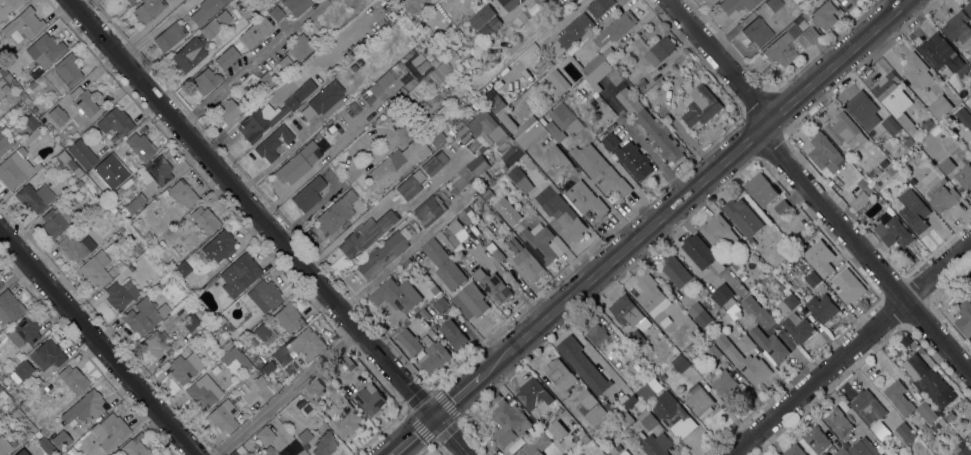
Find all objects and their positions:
building: (130, 1)
building: (788, 1)
building: (709, 2)
building: (849, 3)
road: (79, 4)
building: (510, 4)
building: (735, 5)
building: (773, 5)
road: (87, 6)
building: (295, 6)
building: (535, 6)
building: (599, 6)
building: (968, 6)
building: (8, 7)
building: (148, 10)
building: (205, 10)
road: (895, 12)
building: (276, 14)
building: (824, 15)
building: (481, 16)
building: (224, 18)
building: (23, 25)
building: (958, 27)
building: (211, 28)
road: (554, 28)
building: (616, 28)
road: (153, 29)
building: (255, 32)
building: (757, 32)
building: (457, 33)
building: (571, 33)
building: (811, 33)
building: (169, 36)
building: (423, 44)
building: (784, 44)
building: (299, 47)
building: (44, 50)
building: (414, 50)
building: (659, 50)
building: (465, 51)
building: (607, 51)
building: (940, 52)
building: (433, 53)
building: (188, 55)
building: (227, 57)
building: (416, 60)
road: (721, 60)
building: (2, 62)
building: (422, 62)
building: (584, 63)
road: (250, 64)
building: (285, 64)
building: (917, 70)
building: (441, 71)
building: (3, 72)
building: (63, 74)
building: (206, 80)
building: (266, 80)
building: (383, 81)
building: (556, 82)
building: (642, 82)
building: (660, 82)
building: (317, 85)
building: (962, 91)
building: (623, 92)
building: (891, 92)
building: (8, 94)
building: (25, 97)
building: (323, 99)
building: (83, 101)
building: (495, 103)
building: (701, 105)
building: (940, 106)
building: (863, 109)
building: (961, 109)
building: (227, 111)
building: (57, 115)
building: (266, 117)
building: (565, 118)
building: (967, 119)
building: (456, 120)
building: (115, 121)
building: (507, 121)
building: (30, 122)
building: (906, 122)
building: (926, 124)
building: (890, 125)
building: (845, 130)
building: (936, 130)
building: (554, 131)
building: (501, 135)
building: (30, 136)
building: (660, 136)
building: (435, 137)
building: (5, 141)
building: (909, 141)
building: (950, 143)
building: (274, 144)
road: (294, 145)
building: (140, 146)
building: (969, 146)
building: (824, 151)
building: (82, 154)
building: (628, 155)
building: (555, 156)
building: (526, 158)
building: (118, 160)
building: (69, 163)
building: (434, 163)
building: (884, 163)
building: (297, 164)
building: (395, 164)
building: (530, 164)
building: (15, 168)
building: (599, 169)
building: (891, 170)
building: (156, 171)
building: (958, 171)
building: (475, 172)
building: (871, 175)
building: (520, 179)
building: (913, 180)
building: (861, 182)
building: (410, 185)
building: (124, 186)
building: (760, 188)
building: (868, 188)
building: (106, 191)
building: (182, 193)
building: (308, 194)
building: (487, 194)
building: (784, 194)
building: (942, 196)
building: (34, 198)
building: (585, 198)
building: (479, 200)
building: (859, 200)
building: (135, 203)
road: (674, 206)
building: (782, 207)
building: (112, 210)
building: (428, 211)
building: (561, 212)
building: (913, 212)
building: (336, 213)
building: (742, 216)
building: (464, 217)
building: (204, 220)
building: (56, 221)
road: (266, 227)
building: (453, 229)
building: (716, 229)
building: (893, 230)
building: (364, 235)
building: (148, 239)
building: (752, 241)
building: (539, 242)
building: (219, 246)
building: (75, 247)
building: (697, 250)
building: (387, 251)
building: (435, 251)
building: (494, 251)
road: (865, 253)
road: (401, 254)
building: (818, 257)
building: (529, 264)
building: (97, 269)
building: (182, 269)
building: (429, 270)
building: (739, 273)
building: (449, 274)
building: (679, 274)
building: (239, 275)
building: (770, 275)
building: (437, 279)
building: (812, 279)
building: (208, 283)
building: (1, 284)
building: (779, 284)
building: (492, 285)
building: (739, 288)
building: (850, 288)
building: (434, 290)
building: (121, 294)
building: (396, 294)
building: (723, 294)
building: (651, 295)
building: (264, 296)
building: (470, 300)
building: (787, 304)
building: (435, 307)
building: (822, 307)
building: (9, 309)
building: (756, 310)
building: (629, 312)
building: (699, 313)
building: (144, 316)
building: (964, 317)
building: (287, 318)
building: (737, 318)
building: (220, 320)
building: (410, 320)
building: (665, 321)
building: (190, 322)
building: (798, 327)
building: (695, 330)
building: (23, 332)
building: (264, 333)
building: (453, 333)
building: (597, 334)
building: (689, 335)
building: (635, 340)
road: (98, 341)
building: (409, 341)
building: (744, 341)
building: (156, 343)
building: (307, 343)
building: (770, 344)
building: (227, 345)
road: (587, 347)
road: (852, 350)
building: (230, 351)
building: (713, 353)
building: (47, 355)
building: (282, 355)
building: (435, 357)
building: (744, 361)
building: (345, 362)
building: (680, 362)
building: (582, 364)
building: (185, 367)
building: (21, 368)
building: (267, 368)
building: (706, 372)
building: (560, 374)
building: (662, 376)
building: (72, 379)
building: (259, 381)
building: (929, 381)
building: (726, 384)
building: (50, 387)
building: (315, 388)
building: (645, 391)
road: (283, 392)
building: (203, 393)
building: (2, 395)
building: (305, 395)
building: (535, 396)
building: (899, 397)
building: (370, 398)
building: (603, 400)
building: (700, 401)
building: (311, 402)
road: (450, 404)
building: (589, 406)
building: (867, 406)
building: (85, 407)
building: (557, 408)
building: (306, 409)
building: (351, 411)
building: (927, 411)
building: (564, 412)
building: (941, 412)
building: (643, 413)
building: (18, 415)
building: (673, 415)
building: (223, 416)
building: (626, 418)
building: (538, 419)
building: (838, 421)
building: (509, 422)
building: (924, 426)
building: (30, 428)
building: (537, 429)
building: (592, 430)
building: (110, 432)
building: (904, 433)
building: (970, 433)
road: (417, 434)
building: (264, 436)
building: (526, 436)
building: (305, 439)
building: (585, 439)
building: (61, 440)
building: (815, 441)
building: (325, 444)
building: (516, 444)
building: (656, 444)
building: (846, 444)
building: (970, 444)
building: (536, 445)
building: (3, 446)
building: (863, 447)
building: (920, 448)
building: (48, 449)
building: (134, 449)
building: (289, 449)
building: (963, 449)
building: (794, 450)
building: (894, 450)
building: (239, 451)
building: (269, 451)
road: (397, 451)
building: (21, 452)
building: (624, 452)
building: (841, 452)
building: (301, 453)

